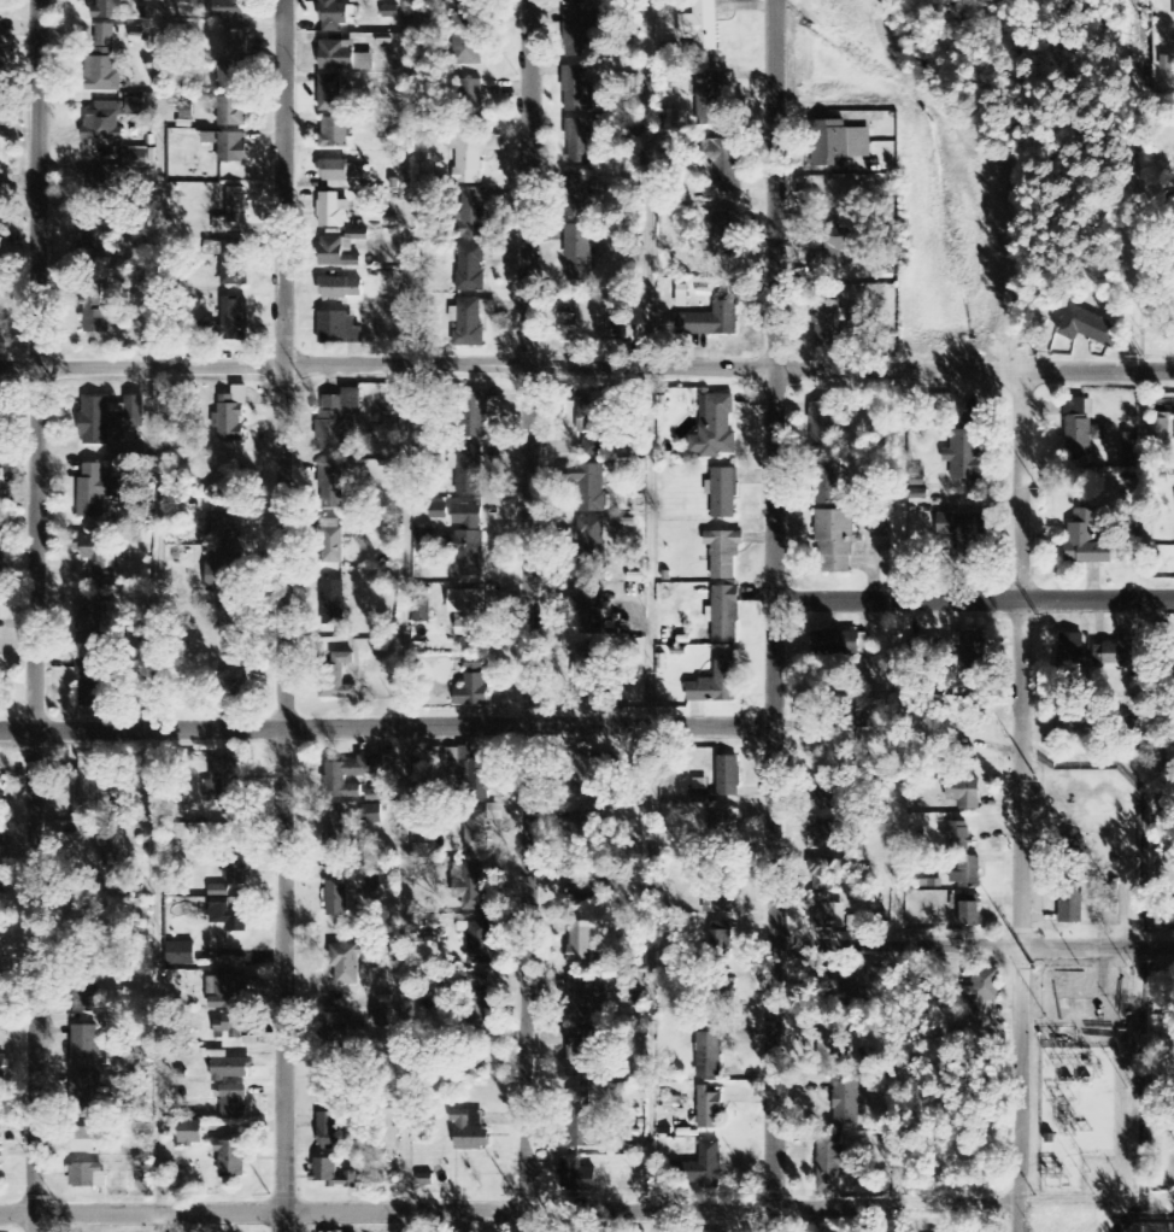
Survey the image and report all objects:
building: (579, 1)
building: (229, 10)
building: (335, 16)
building: (702, 27)
building: (583, 34)
building: (468, 40)
building: (236, 43)
building: (344, 58)
building: (102, 64)
building: (231, 76)
building: (577, 90)
building: (330, 94)
building: (708, 99)
building: (470, 101)
building: (134, 107)
building: (233, 112)
building: (104, 123)
building: (335, 134)
building: (585, 141)
building: (839, 143)
building: (233, 148)
building: (472, 156)
building: (135, 159)
building: (723, 163)
building: (337, 170)
building: (98, 181)
building: (580, 196)
building: (239, 205)
building: (331, 211)
building: (471, 213)
building: (727, 234)
building: (95, 237)
building: (835, 244)
building: (579, 252)
building: (336, 254)
building: (231, 262)
building: (471, 269)
building: (340, 288)
building: (95, 312)
building: (235, 319)
building: (710, 319)
building: (472, 321)
building: (591, 323)
building: (828, 323)
building: (1088, 327)
building: (340, 329)
road: (586, 368)
building: (593, 411)
building: (0, 416)
building: (231, 416)
building: (474, 416)
building: (108, 418)
building: (339, 418)
building: (824, 426)
building: (1081, 428)
building: (715, 429)
building: (1162, 429)
building: (594, 447)
building: (1129, 447)
building: (967, 451)
building: (469, 470)
building: (828, 481)
building: (331, 486)
building: (589, 488)
building: (96, 492)
building: (723, 493)
building: (466, 516)
building: (223, 517)
building: (882, 529)
building: (963, 533)
building: (424, 536)
building: (591, 541)
building: (835, 541)
building: (1087, 542)
building: (92, 548)
building: (330, 548)
building: (466, 553)
building: (723, 555)
building: (224, 573)
road: (973, 597)
building: (0, 603)
building: (333, 603)
road: (159, 604)
building: (422, 610)
building: (593, 611)
building: (468, 612)
road: (35, 615)
road: (529, 615)
building: (724, 615)
road: (773, 615)
road: (283, 616)
road: (409, 616)
building: (233, 620)
building: (92, 621)
building: (1163, 634)
building: (837, 643)
building: (972, 651)
building: (1119, 656)
building: (1070, 663)
building: (587, 668)
building: (230, 675)
building: (337, 677)
building: (90, 684)
building: (472, 684)
building: (716, 685)
building: (847, 717)
road: (386, 727)
building: (591, 770)
building: (469, 774)
building: (353, 775)
building: (728, 776)
building: (223, 780)
building: (0, 782)
building: (87, 787)
building: (699, 791)
building: (824, 794)
building: (968, 794)
road: (1020, 799)
building: (371, 815)
building: (726, 827)
building: (475, 829)
building: (335, 832)
building: (580, 834)
building: (824, 834)
building: (958, 837)
building: (0, 840)
building: (111, 849)
building: (237, 874)
building: (967, 874)
building: (823, 875)
building: (370, 886)
building: (472, 888)
building: (218, 891)
building: (0, 893)
building: (580, 893)
building: (336, 900)
building: (723, 904)
building: (1072, 904)
building: (828, 914)
building: (970, 915)
building: (230, 919)
building: (84, 922)
building: (580, 943)
building: (480, 944)
building: (721, 944)
road: (973, 950)
building: (181, 955)
building: (353, 962)
building: (835, 986)
building: (723, 991)
building: (228, 992)
building: (86, 993)
building: (583, 997)
building: (986, 997)
building: (476, 1009)
building: (381, 1019)
building: (231, 1027)
building: (336, 1028)
building: (88, 1048)
building: (832, 1050)
building: (583, 1054)
building: (710, 1056)
building: (2, 1068)
building: (230, 1068)
building: (82, 1092)
building: (234, 1103)
building: (846, 1104)
building: (710, 1113)
building: (470, 1131)
building: (331, 1133)
building: (192, 1134)
building: (86, 1140)
building: (0, 1145)
building: (230, 1158)
building: (832, 1162)
building: (709, 1164)
building: (330, 1174)
building: (0, 1177)
building: (88, 1177)
building: (576, 1178)
road: (509, 1207)
building: (981, 1228)

